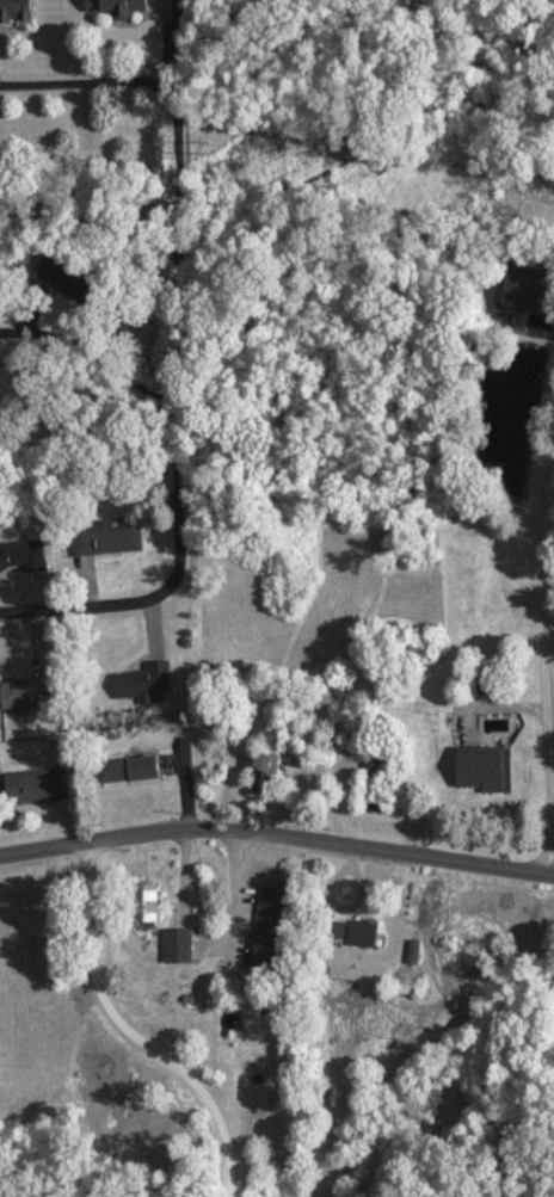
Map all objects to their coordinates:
building: (117, 6)
building: (16, 8)
building: (523, 284)
road: (86, 340)
road: (173, 346)
building: (106, 537)
building: (24, 554)
road: (548, 634)
building: (142, 681)
building: (26, 691)
building: (267, 760)
building: (133, 766)
building: (481, 766)
building: (35, 784)
road: (276, 834)
building: (147, 901)
building: (269, 925)
building: (357, 931)
building: (177, 944)
road: (127, 1036)

